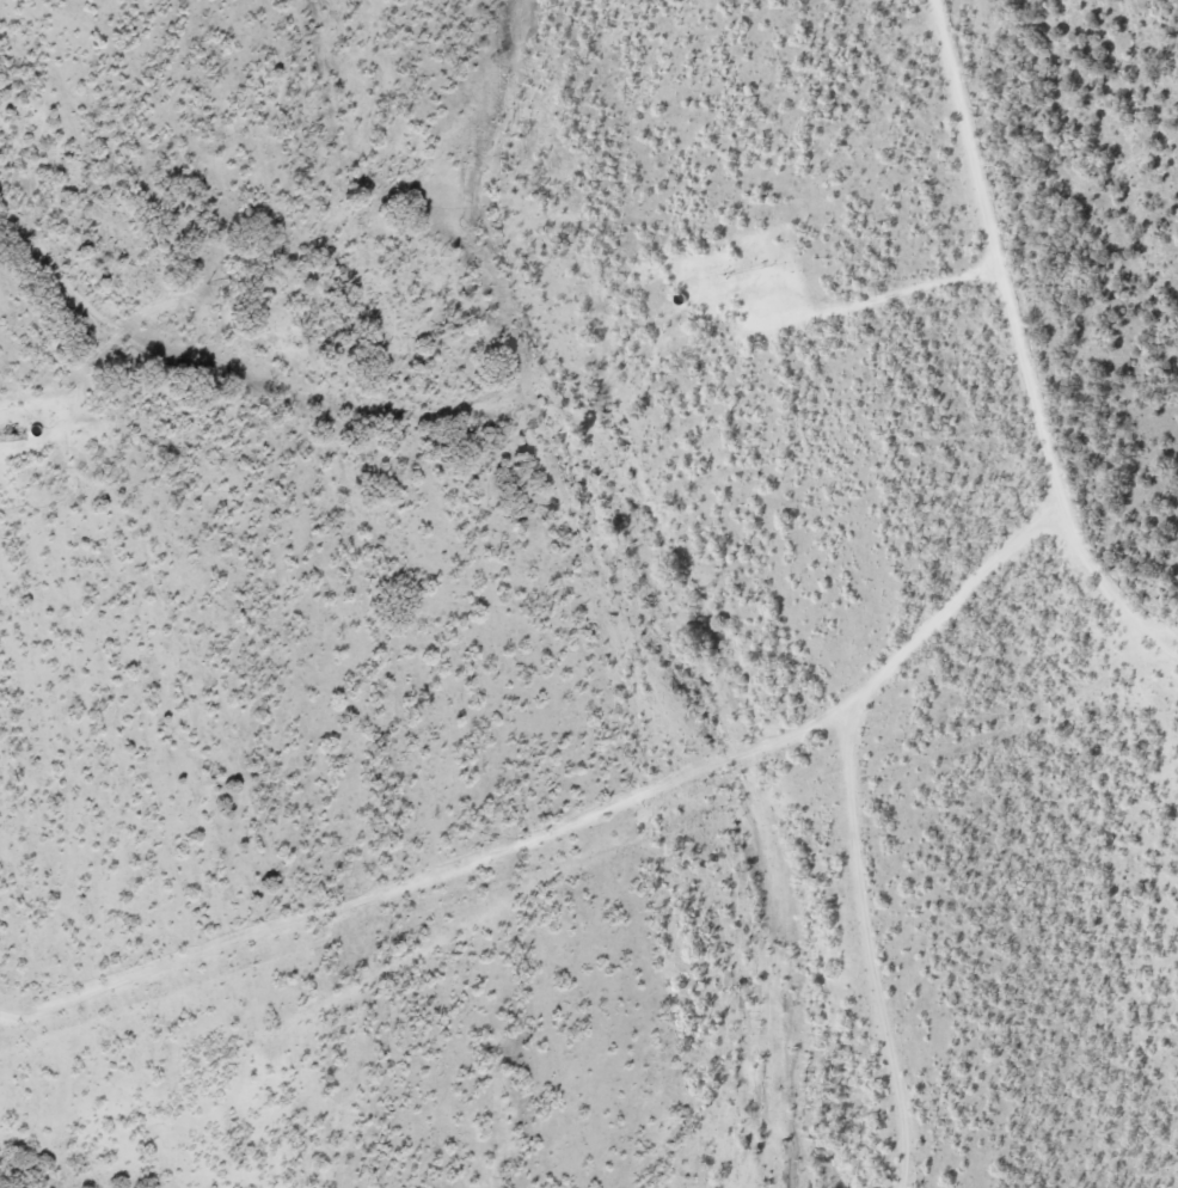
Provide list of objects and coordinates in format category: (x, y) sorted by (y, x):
road: (1085, 545)
river: (651, 590)
road: (916, 669)

